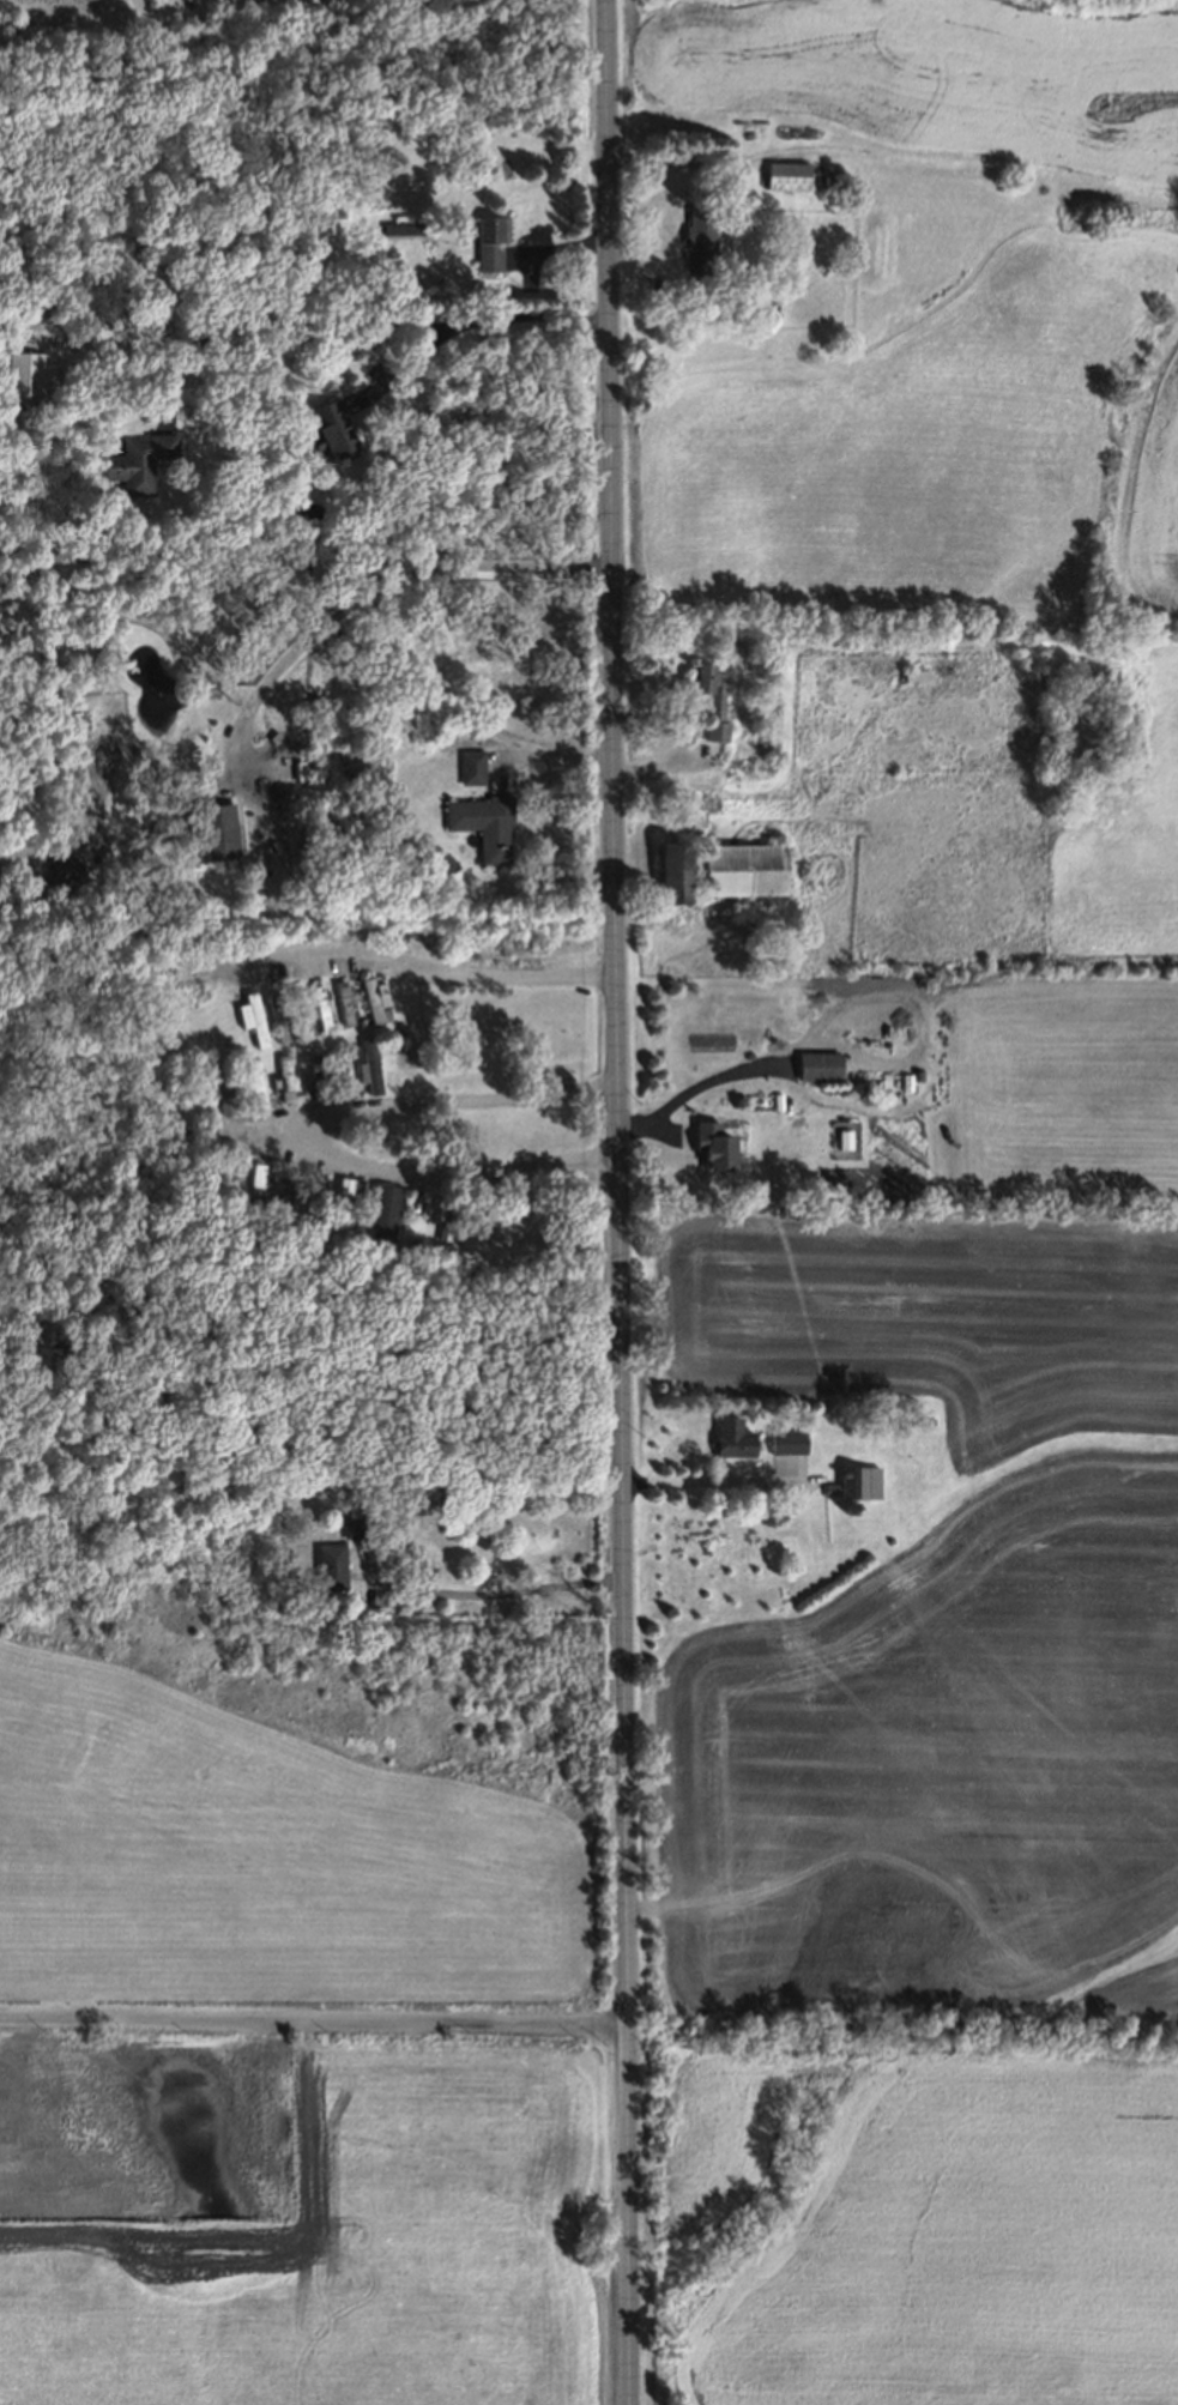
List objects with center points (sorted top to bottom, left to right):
building: (784, 176)
building: (400, 224)
building: (487, 237)
building: (696, 241)
road: (360, 325)
road: (411, 356)
building: (18, 375)
building: (324, 430)
building: (135, 458)
road: (274, 667)
building: (912, 671)
building: (708, 701)
building: (268, 747)
road: (534, 747)
building: (467, 763)
building: (385, 810)
building: (481, 822)
building: (211, 826)
building: (332, 829)
building: (445, 860)
building: (68, 866)
building: (739, 866)
building: (670, 872)
building: (228, 907)
road: (425, 965)
building: (373, 996)
building: (343, 1001)
building: (320, 1008)
building: (300, 1010)
building: (383, 1010)
building: (250, 1016)
building: (276, 1016)
building: (361, 1021)
building: (313, 1027)
building: (290, 1035)
building: (224, 1039)
building: (352, 1047)
building: (325, 1053)
building: (300, 1057)
building: (818, 1062)
building: (368, 1065)
building: (235, 1066)
building: (169, 1070)
building: (339, 1071)
building: (312, 1075)
building: (283, 1076)
building: (252, 1082)
building: (217, 1084)
road: (689, 1089)
building: (185, 1131)
road: (309, 1132)
building: (714, 1138)
building: (252, 1189)
building: (277, 1197)
building: (312, 1197)
building: (339, 1200)
building: (413, 1202)
road: (609, 1202)
building: (470, 1208)
building: (382, 1209)
building: (446, 1214)
building: (440, 1231)
building: (410, 1240)
building: (923, 1419)
building: (899, 1430)
building: (731, 1437)
building: (783, 1443)
building: (289, 1481)
building: (854, 1482)
road: (713, 1484)
building: (826, 1488)
building: (851, 1511)
building: (357, 1518)
building: (330, 1564)
road: (497, 1591)
road: (313, 2024)

